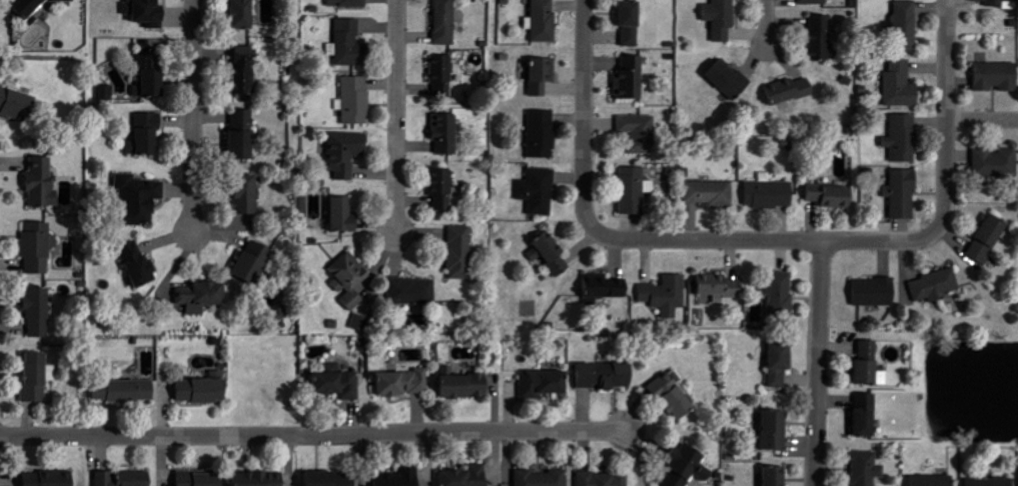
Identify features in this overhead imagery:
building: (809, 2)
building: (990, 2)
building: (348, 3)
building: (34, 7)
building: (146, 12)
building: (244, 14)
building: (716, 18)
building: (538, 21)
building: (446, 22)
building: (622, 22)
road: (767, 23)
building: (900, 26)
building: (814, 36)
building: (350, 44)
building: (246, 74)
building: (153, 75)
building: (443, 75)
building: (536, 75)
building: (990, 76)
building: (720, 77)
building: (627, 78)
building: (895, 85)
building: (781, 91)
building: (108, 92)
building: (357, 100)
building: (17, 102)
road: (584, 111)
road: (946, 112)
road: (193, 116)
road: (396, 117)
road: (982, 120)
building: (635, 130)
building: (149, 133)
building: (447, 133)
building: (244, 134)
building: (540, 134)
building: (898, 138)
building: (346, 153)
building: (1000, 162)
building: (43, 182)
building: (443, 188)
building: (629, 189)
building: (533, 191)
building: (705, 193)
building: (248, 194)
building: (765, 194)
building: (899, 194)
building: (823, 196)
building: (141, 197)
building: (345, 215)
road: (764, 240)
building: (39, 247)
building: (462, 252)
building: (545, 252)
building: (256, 261)
building: (140, 265)
building: (351, 279)
building: (931, 285)
building: (600, 286)
building: (711, 286)
building: (414, 291)
building: (868, 292)
building: (203, 296)
building: (660, 297)
building: (772, 298)
building: (39, 312)
building: (282, 312)
building: (362, 322)
road: (819, 363)
building: (771, 364)
building: (863, 366)
building: (597, 376)
building: (38, 377)
building: (337, 381)
building: (405, 383)
building: (537, 383)
building: (465, 384)
building: (203, 390)
building: (128, 391)
building: (664, 398)
building: (859, 415)
building: (768, 429)
road: (313, 437)
building: (677, 465)
building: (860, 469)
building: (467, 476)
building: (768, 476)
building: (125, 478)
building: (332, 478)
building: (402, 478)
building: (539, 478)
building: (1017, 478)
building: (51, 479)
building: (202, 479)
building: (261, 479)
building: (599, 479)
building: (925, 480)
building: (984, 481)

